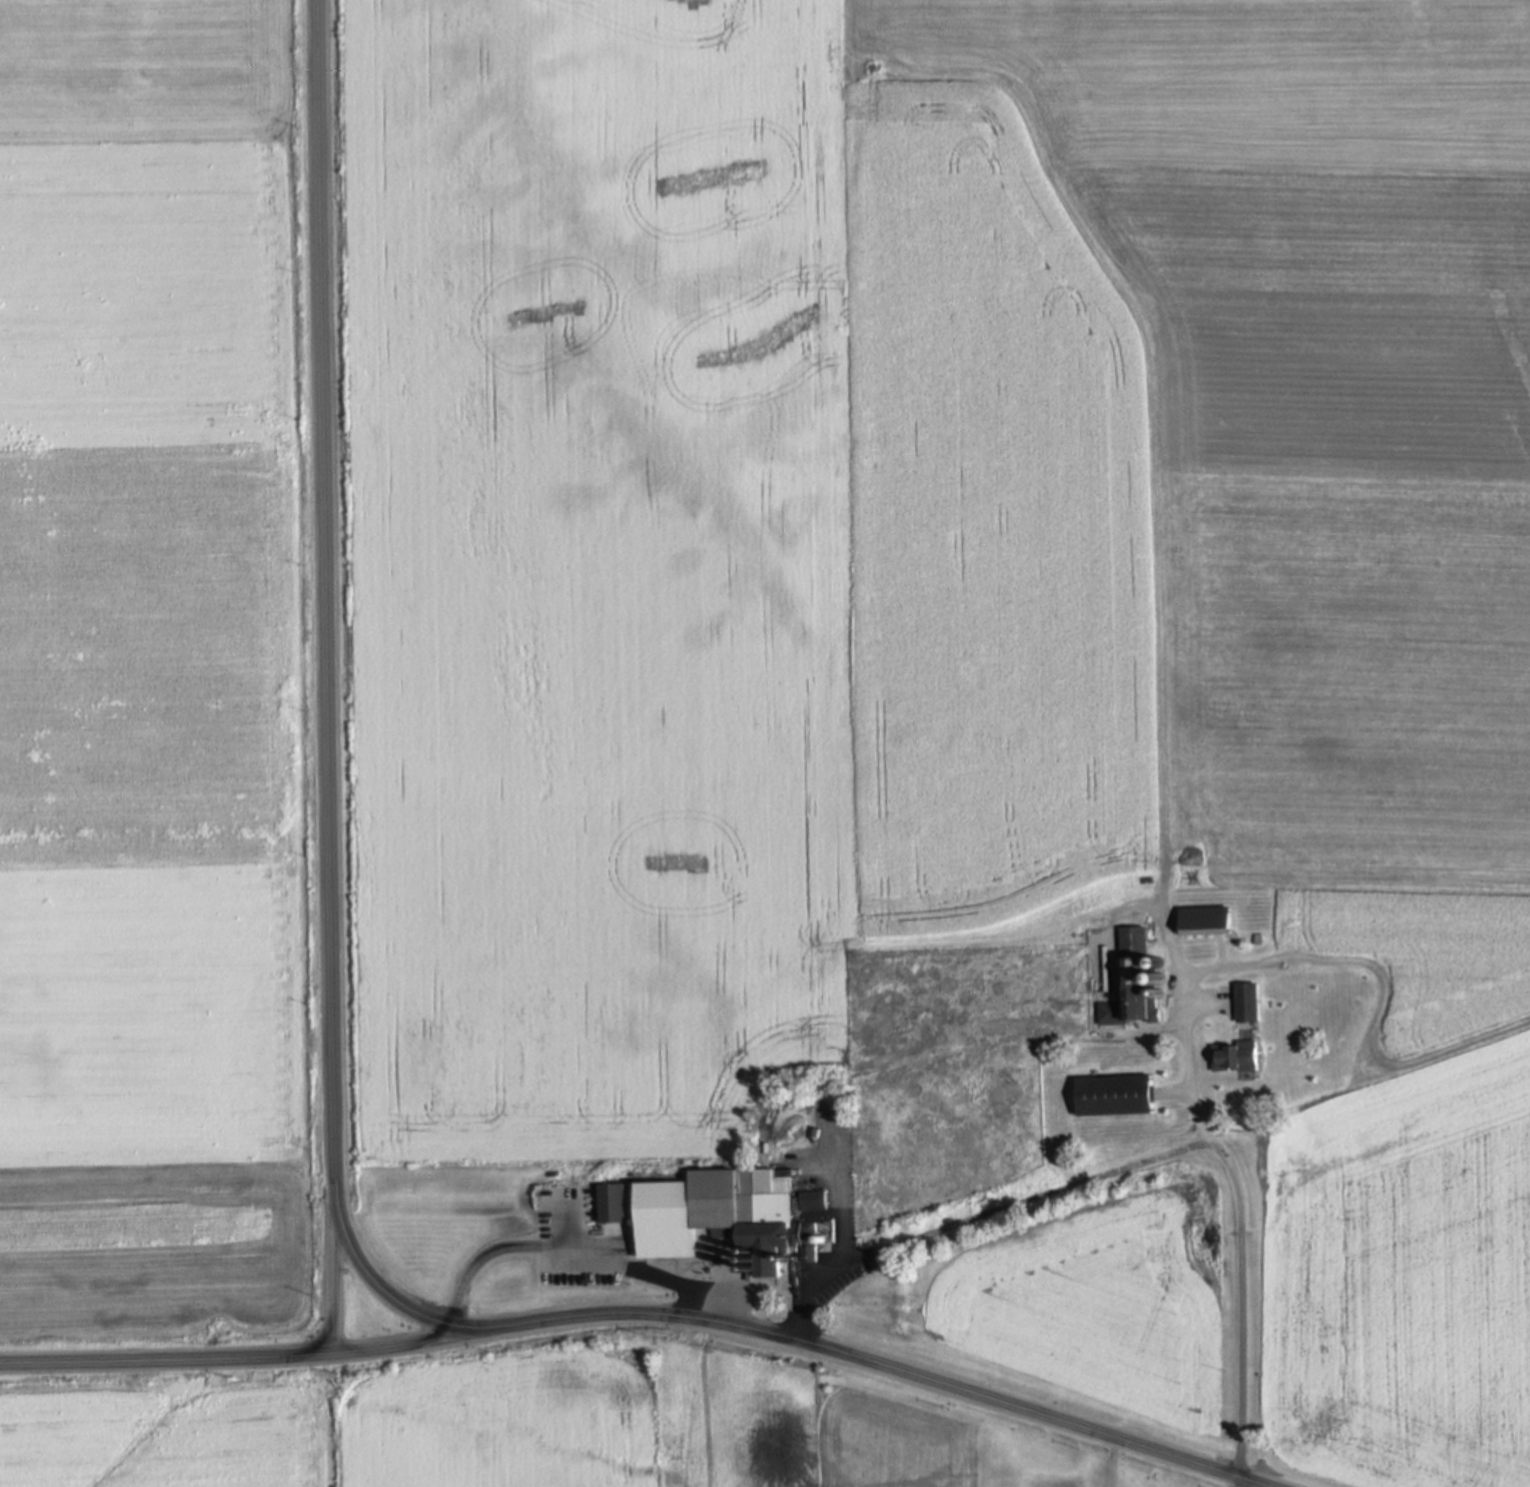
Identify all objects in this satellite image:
road: (332, 782)
building: (1209, 921)
building: (1308, 981)
building: (1133, 982)
building: (1251, 1002)
building: (1238, 1056)
road: (1188, 1062)
building: (1115, 1095)
road: (1050, 1195)
building: (615, 1203)
building: (728, 1210)
road: (846, 1224)
road: (580, 1249)
road: (333, 1277)
road: (783, 1290)
road: (1238, 1312)
road: (253, 1362)
road: (958, 1388)
road: (1113, 1461)

